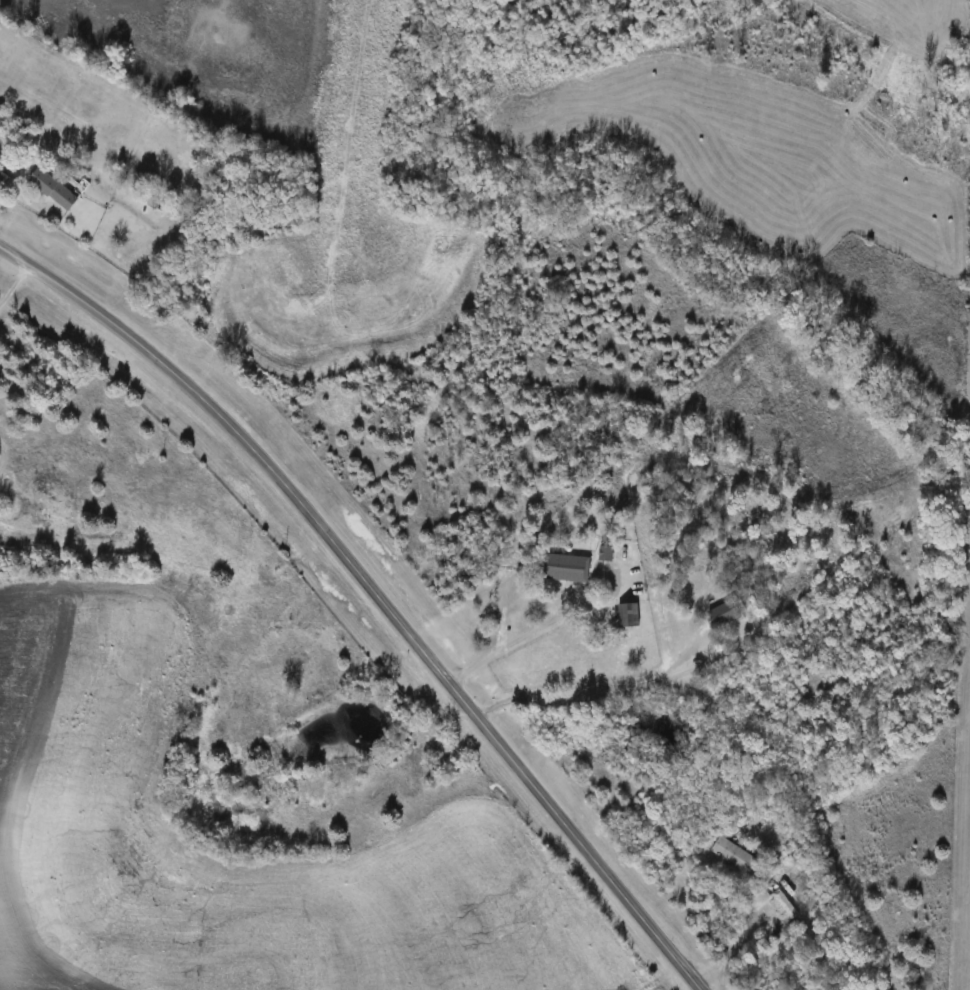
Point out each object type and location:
building: (54, 190)
road: (15, 283)
building: (567, 570)
road: (379, 589)
building: (722, 607)
building: (630, 617)
road: (529, 632)
road: (596, 693)
building: (737, 858)
road: (734, 947)

